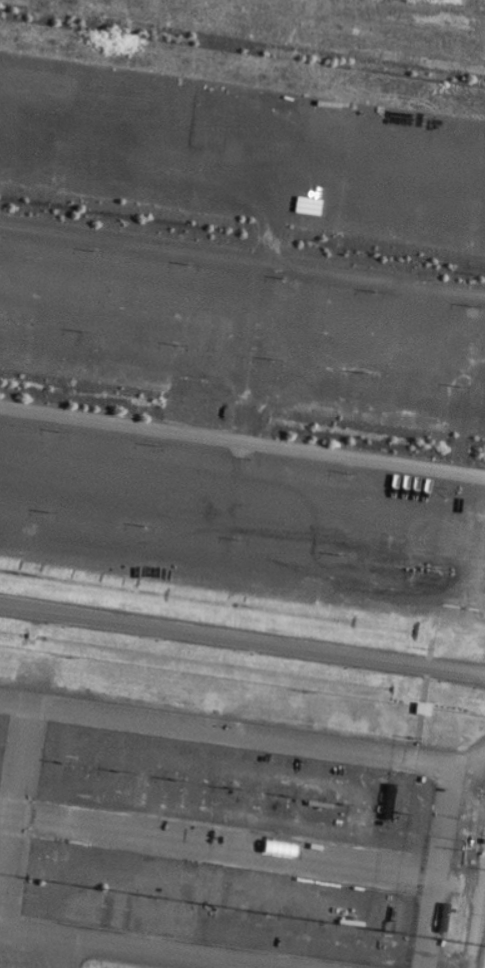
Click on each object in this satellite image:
road: (242, 254)
road: (242, 441)
road: (242, 639)
road: (322, 748)
road: (14, 814)
road: (241, 846)
building: (278, 848)
road: (477, 918)
road: (132, 949)
road: (447, 963)

